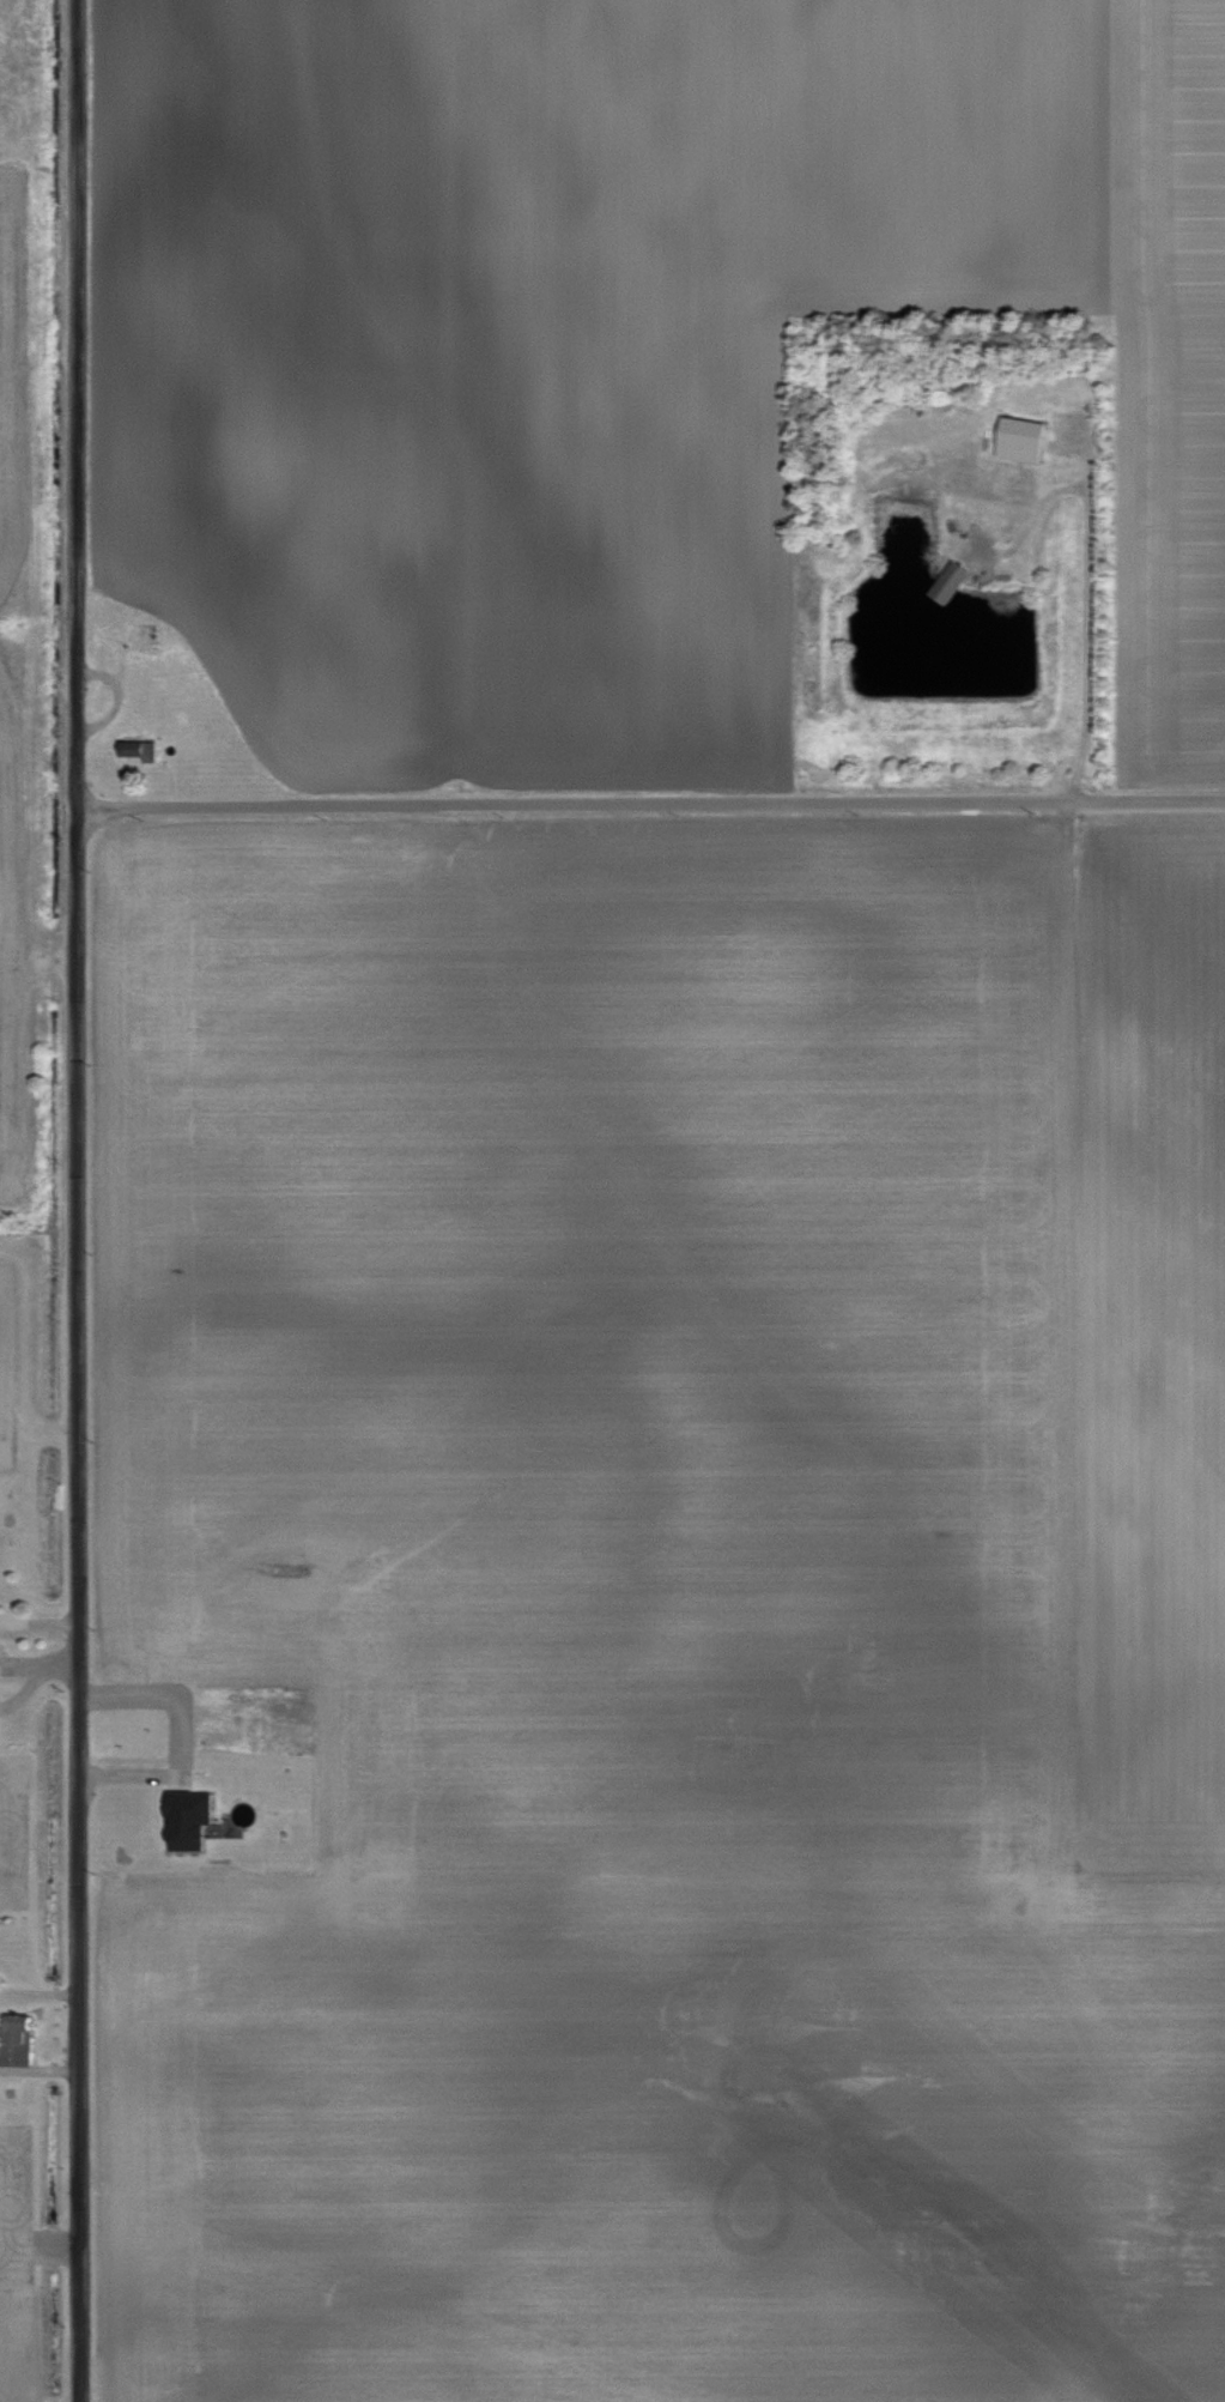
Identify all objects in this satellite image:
building: (1017, 437)
building: (944, 580)
road: (1084, 580)
building: (140, 750)
road: (649, 799)
road: (74, 1200)
crop: (14, 1380)
road: (38, 1620)
building: (194, 1816)

